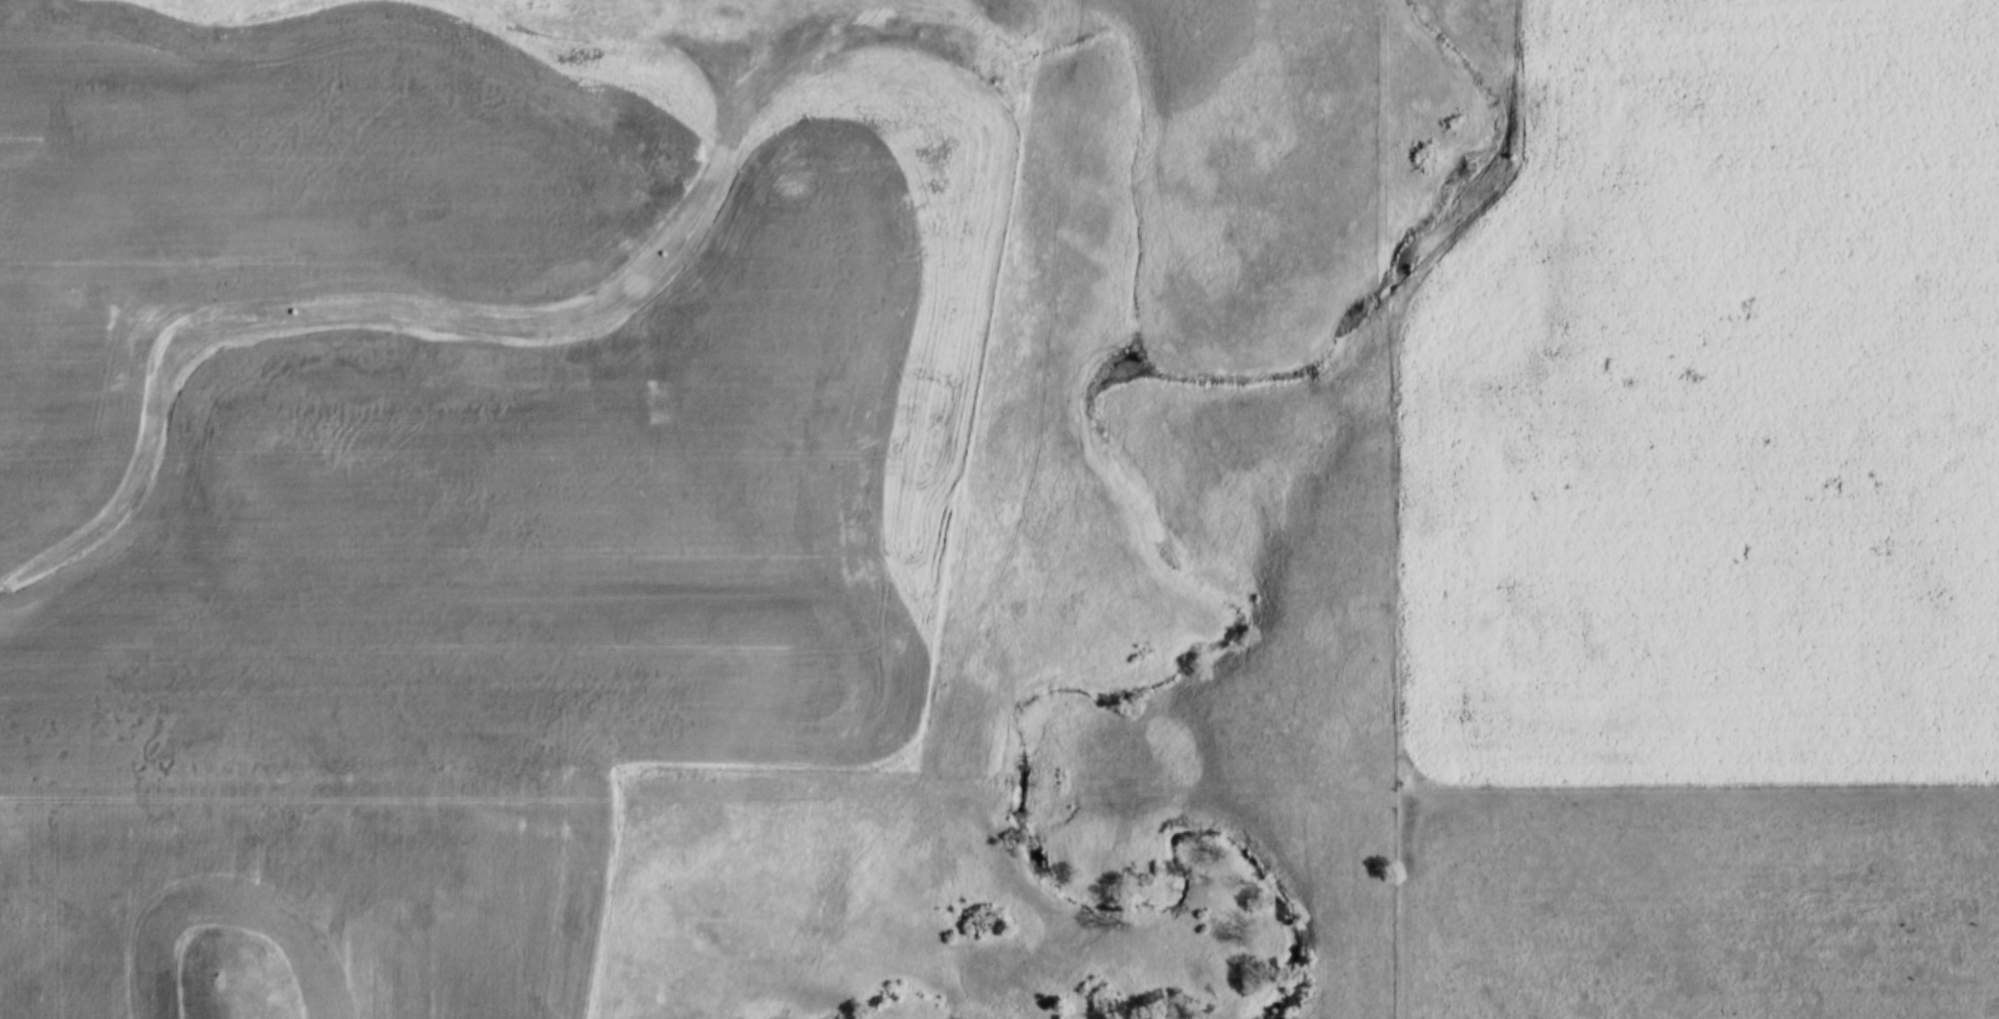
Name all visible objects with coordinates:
road: (999, 796)

